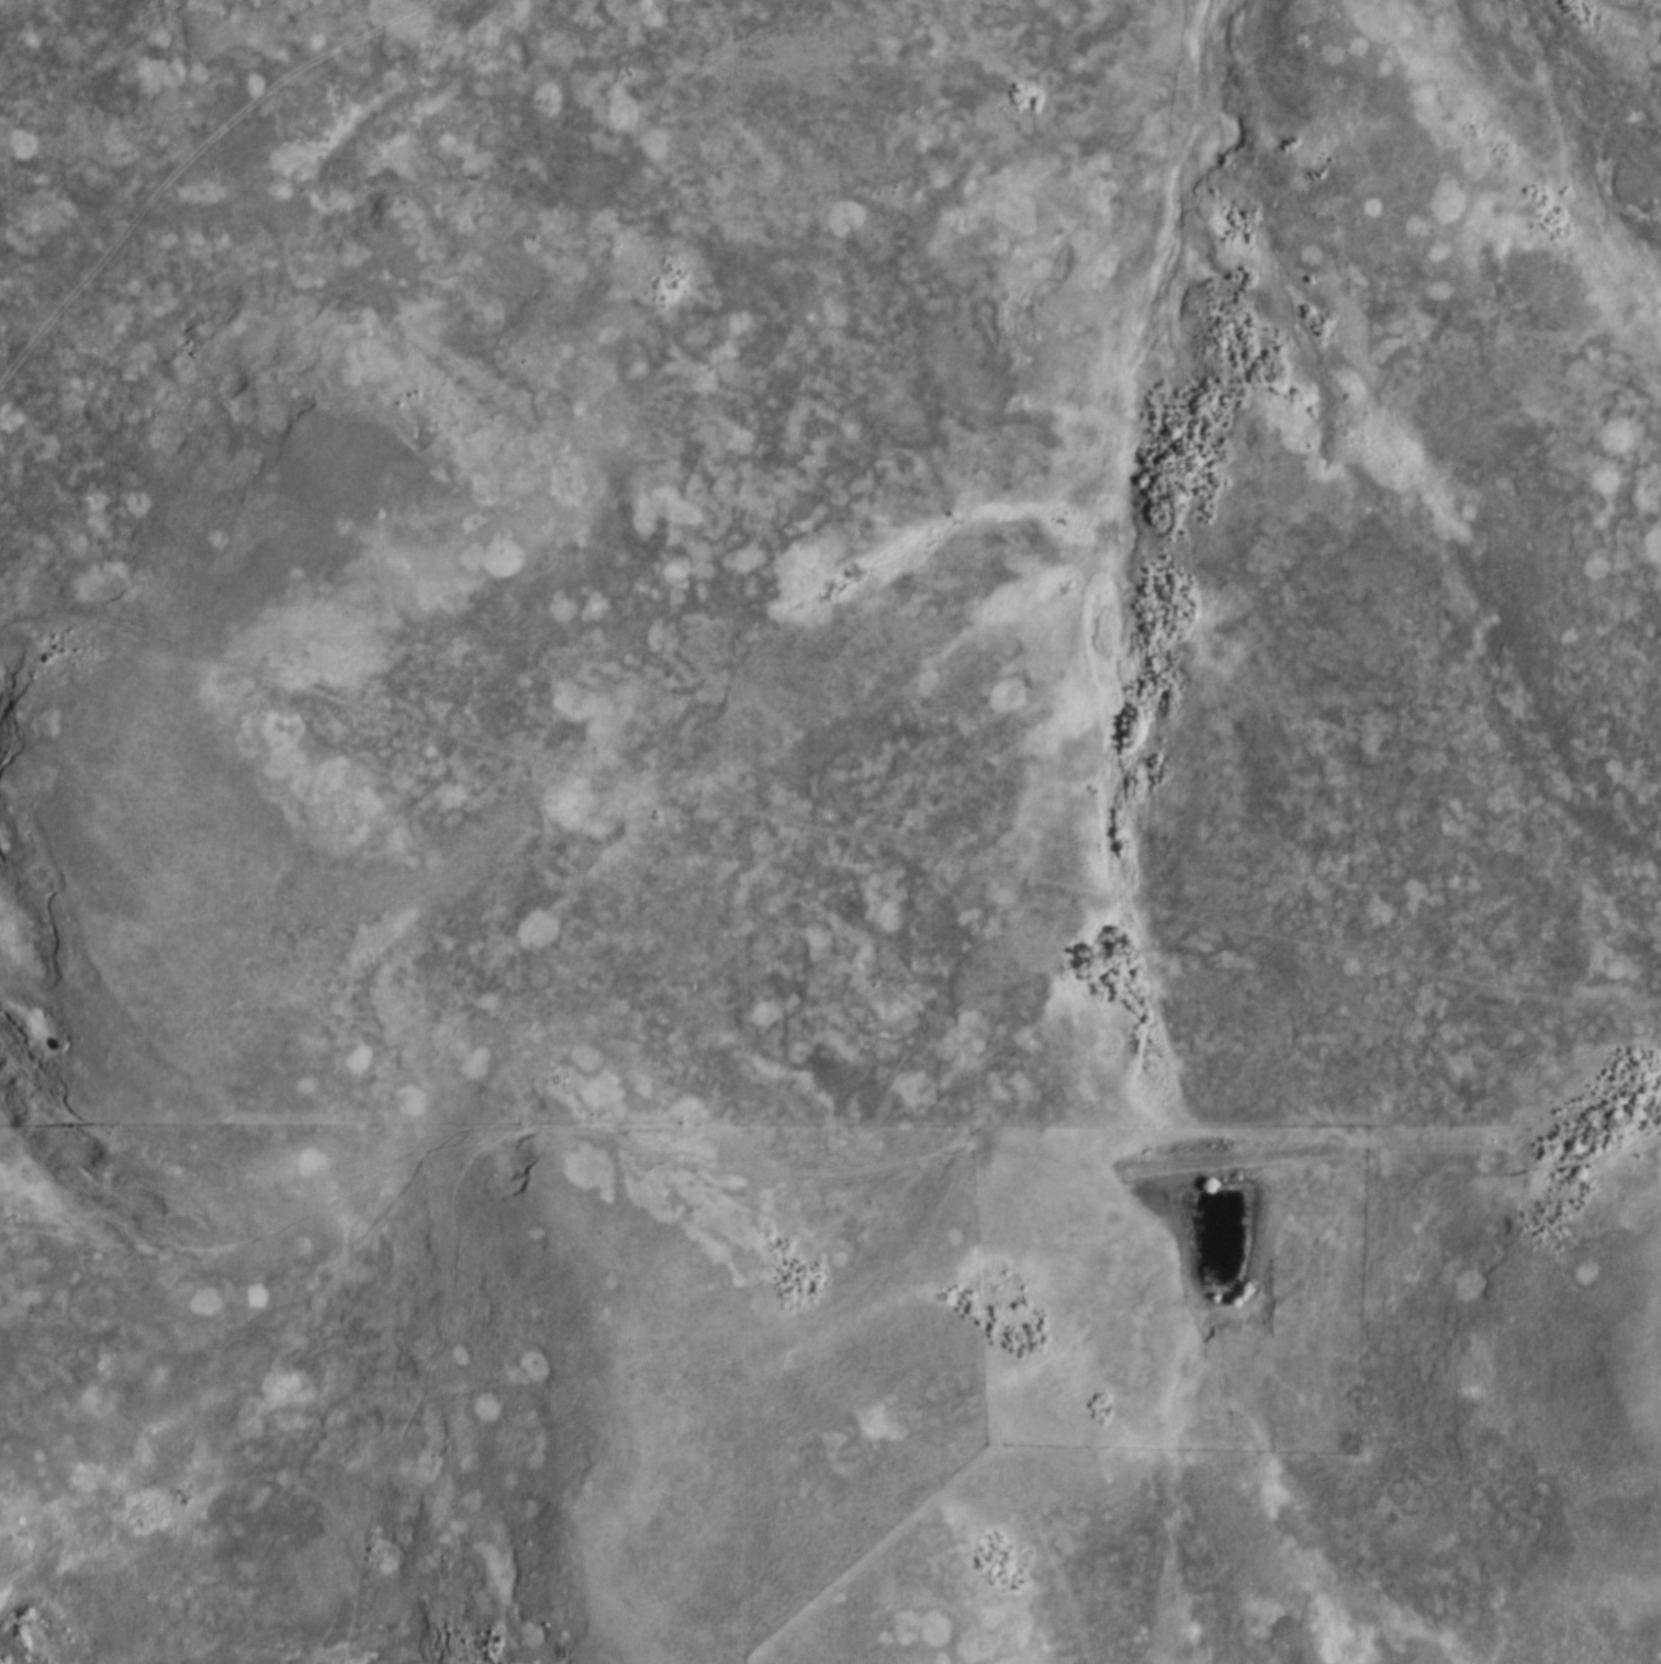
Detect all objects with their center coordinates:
road: (384, 1219)

